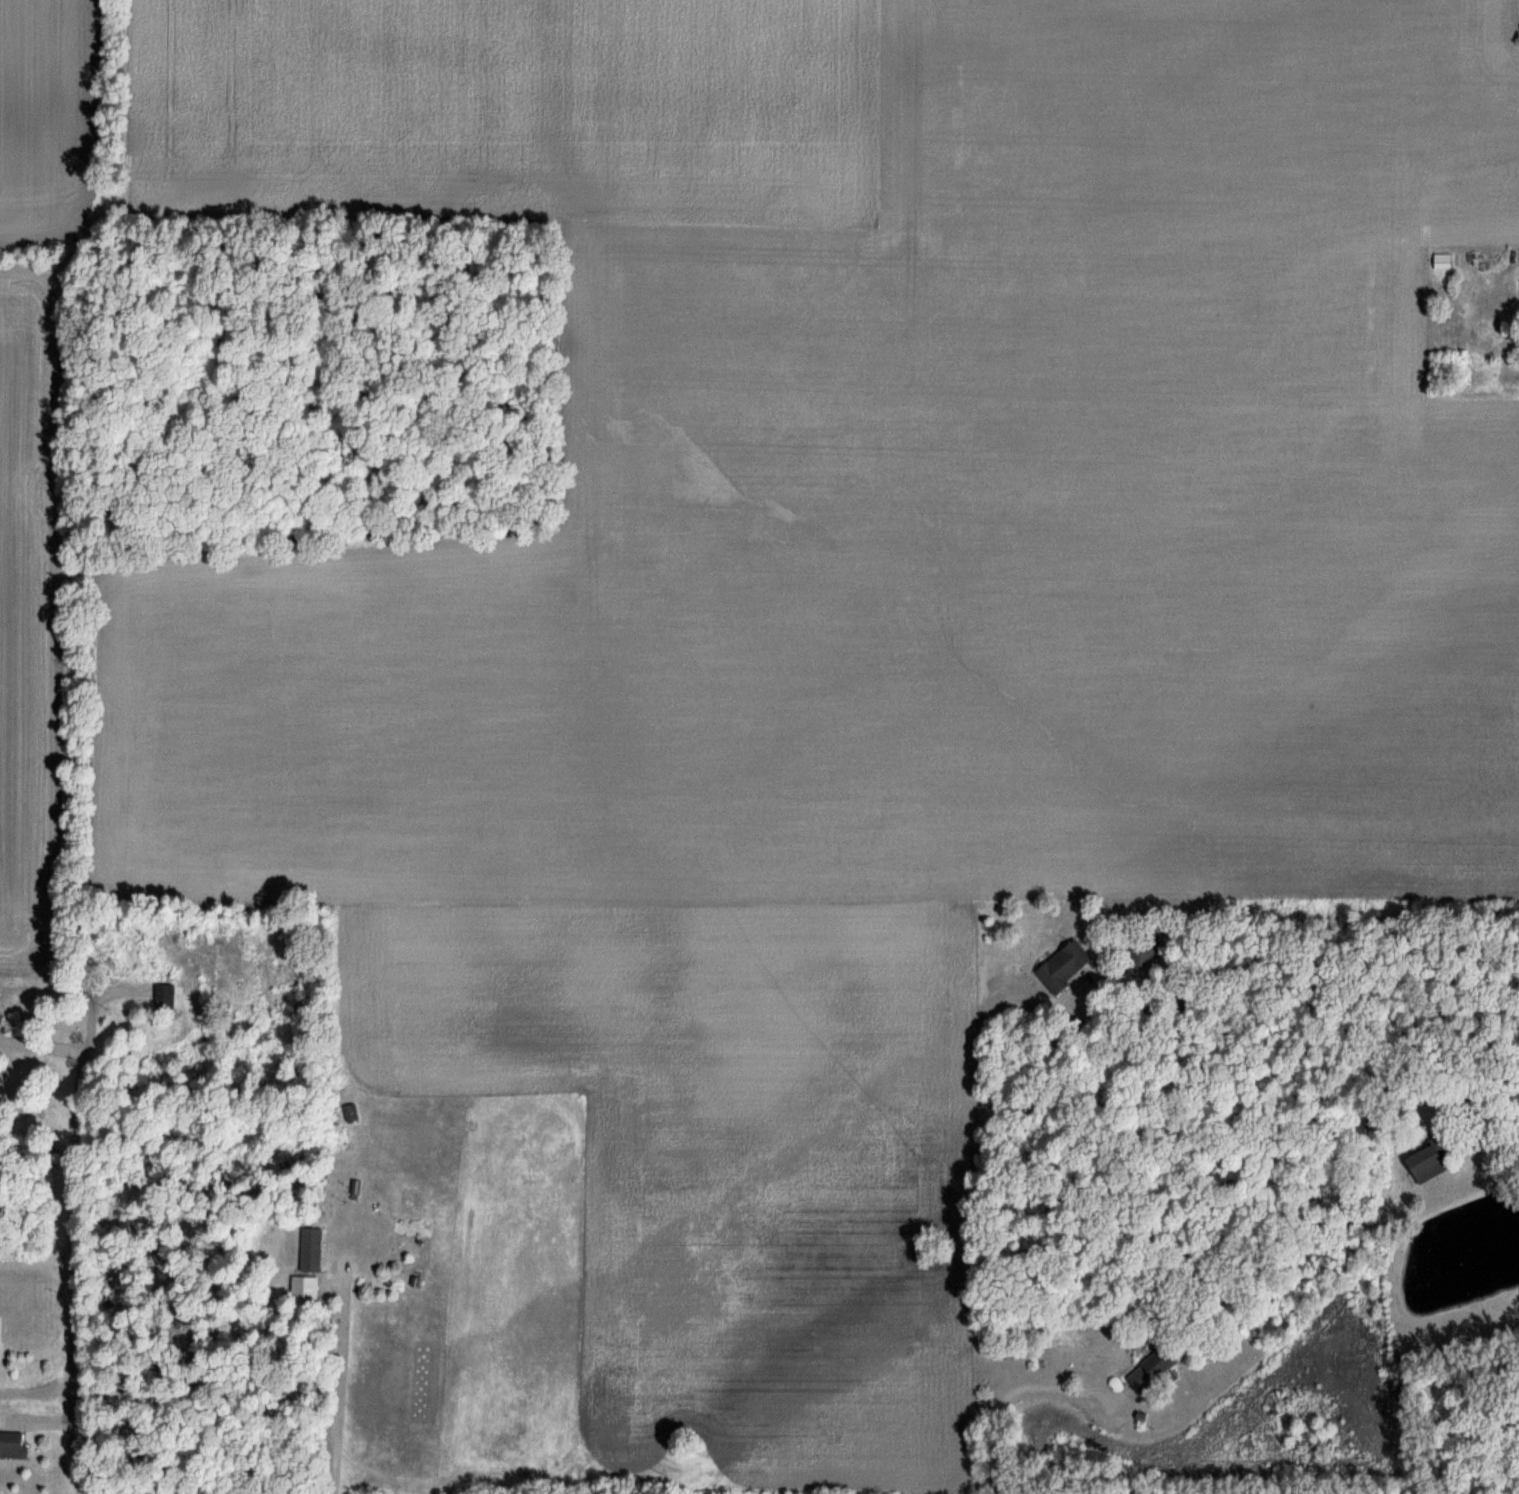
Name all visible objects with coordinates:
building: (1448, 259)
road: (1251, 382)
building: (159, 962)
building: (1069, 966)
building: (168, 995)
road: (42, 1043)
building: (353, 1111)
road: (1514, 1120)
building: (1437, 1162)
road: (872, 1211)
road: (70, 1242)
building: (316, 1248)
road: (485, 1266)
building: (309, 1288)
building: (1158, 1369)
road: (331, 1389)
road: (1003, 1390)
building: (14, 1442)

